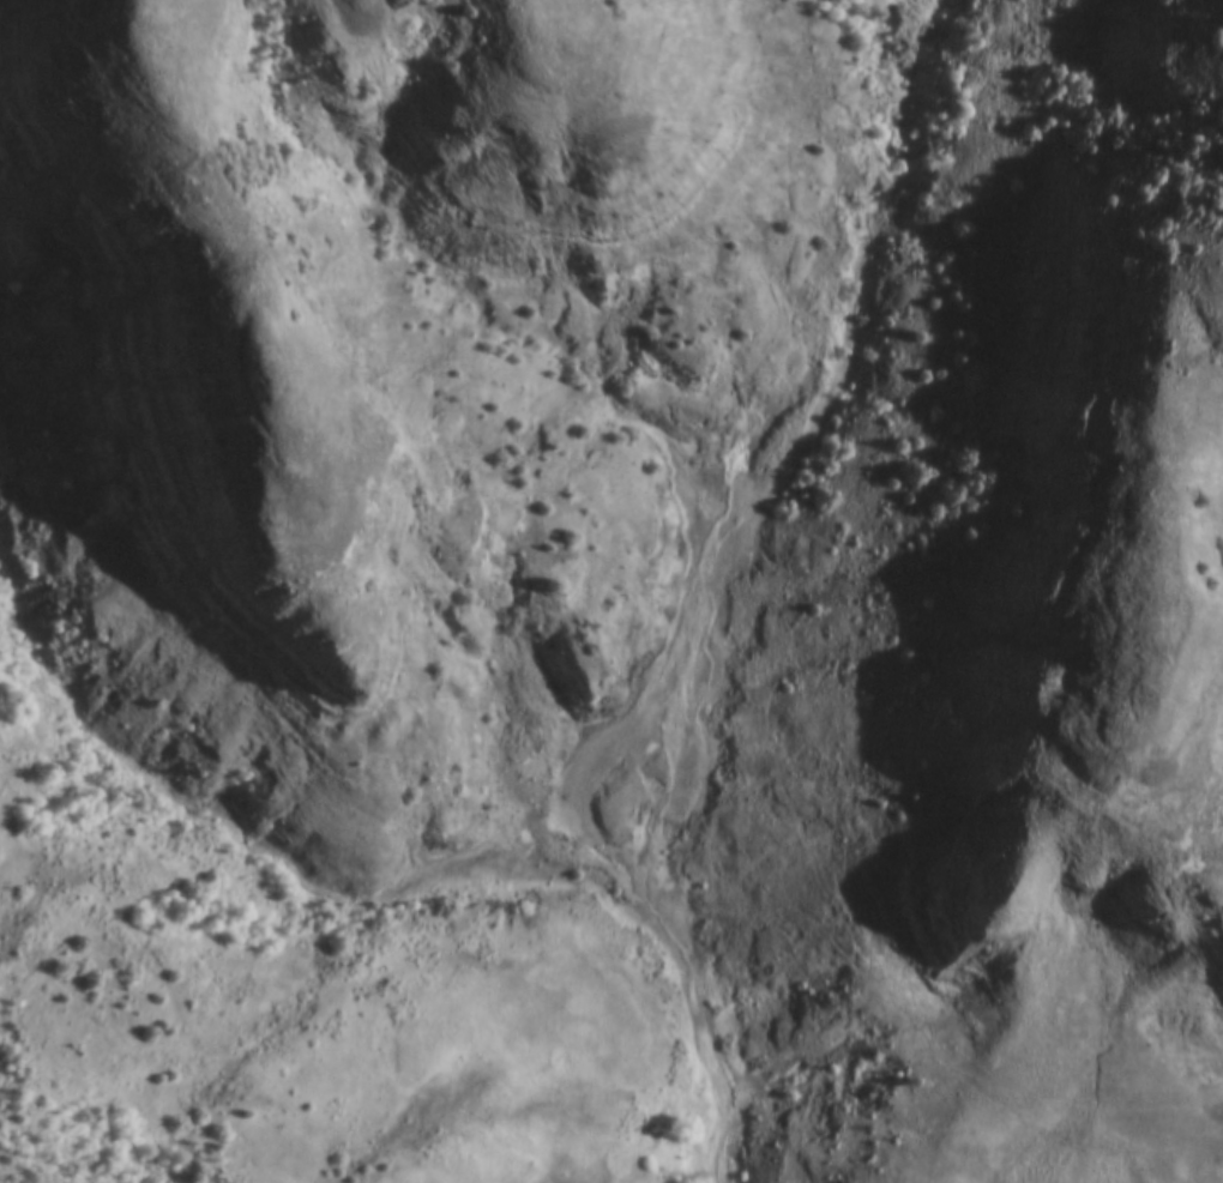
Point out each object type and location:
road: (248, 1066)

